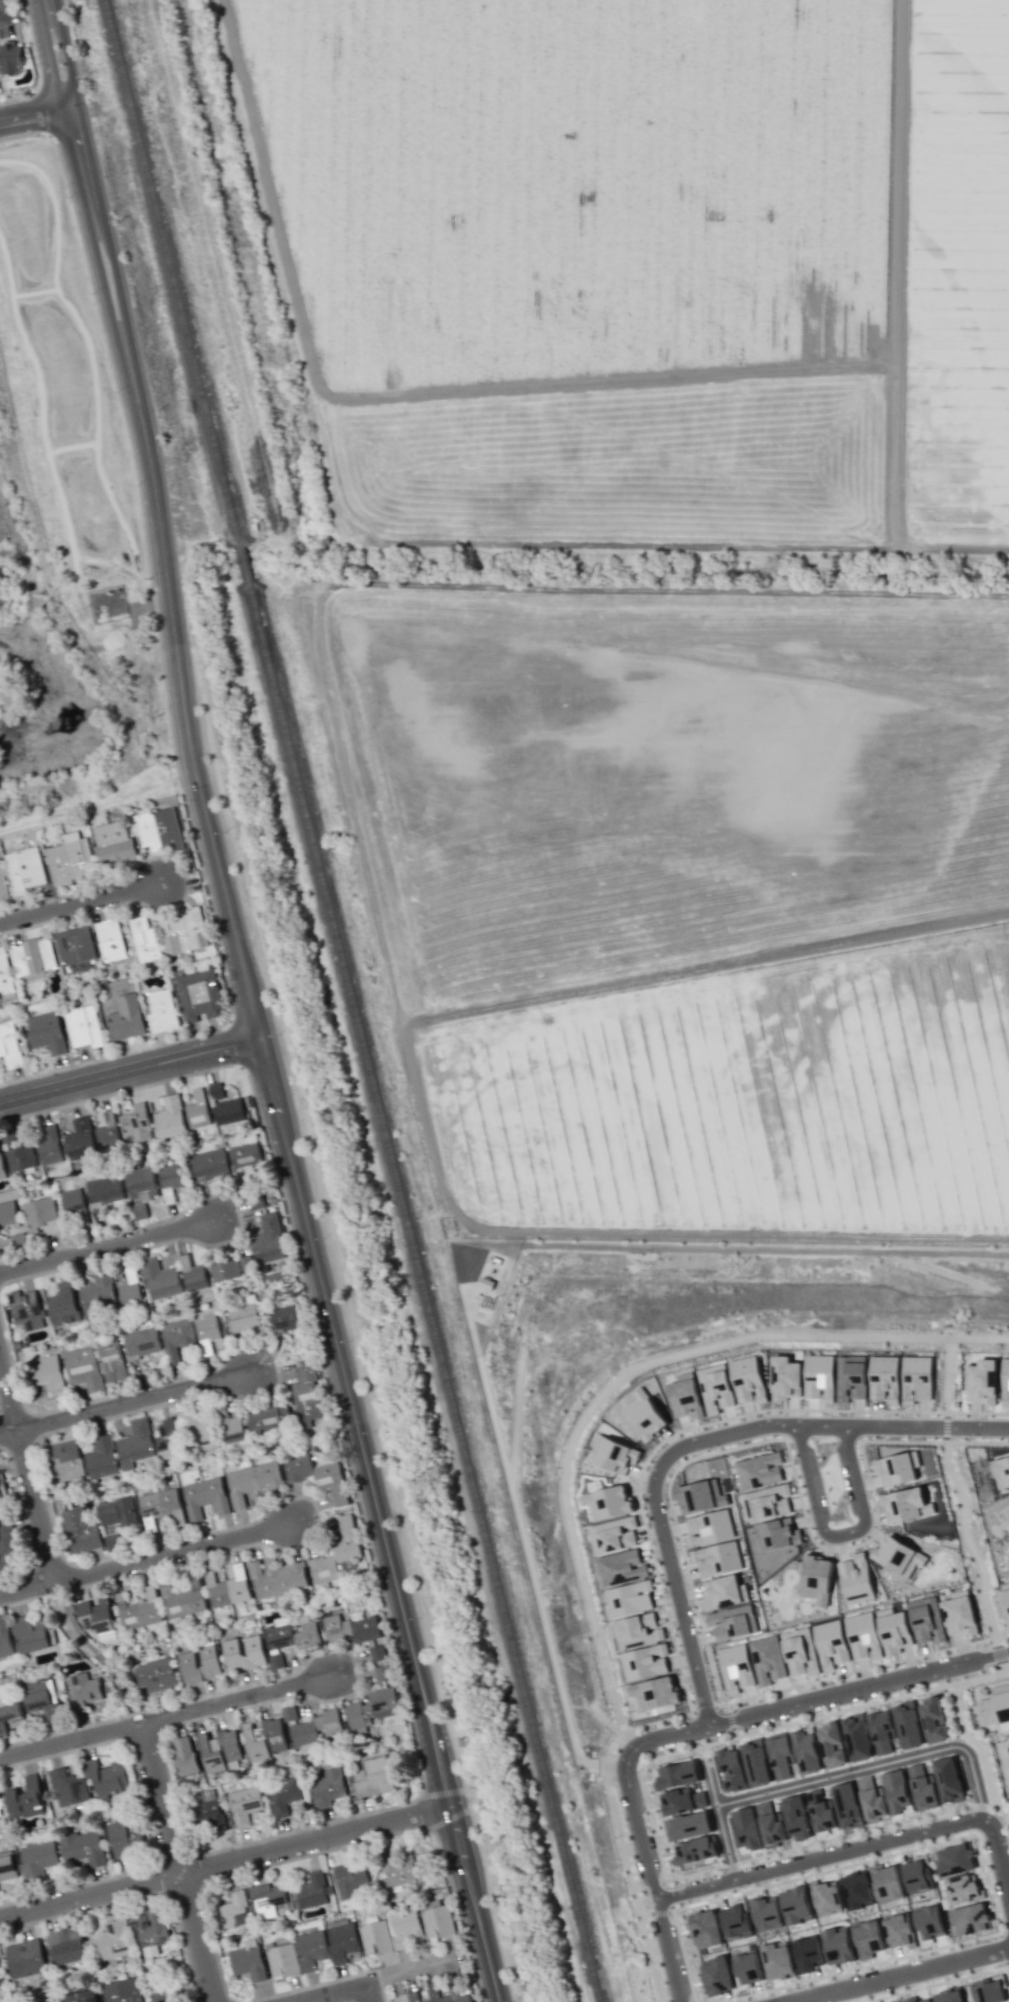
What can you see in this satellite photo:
street lamp: (22, 8)
parking lot: (15, 11)
road: (1, 13)
road: (58, 54)
building: (10, 57)
road: (35, 115)
street lamp: (35, 135)
street lamp: (69, 197)
railway: (172, 273)
street lamp: (93, 293)
street lamp: (118, 391)
street lamp: (137, 484)
railway: (244, 564)
road: (168, 573)
street lamp: (150, 578)
street lamp: (167, 707)
building: (161, 829)
street lamp: (224, 832)
building: (116, 844)
building: (72, 861)
building: (28, 869)
building: (4, 882)
road: (80, 904)
building: (185, 931)
building: (111, 939)
building: (146, 939)
building: (76, 945)
building: (35, 957)
building: (6, 975)
building: (199, 995)
building: (163, 1011)
building: (127, 1018)
building: (85, 1027)
building: (47, 1032)
street lamp: (278, 1034)
building: (11, 1045)
road: (129, 1071)
street lamp: (201, 1075)
building: (225, 1106)
crop: (747, 1106)
building: (198, 1110)
building: (171, 1117)
building: (137, 1123)
building: (109, 1133)
building: (80, 1139)
street lamp: (266, 1145)
building: (50, 1147)
building: (245, 1153)
building: (21, 1159)
building: (210, 1163)
building: (2, 1168)
building: (171, 1180)
building: (141, 1181)
building: (106, 1190)
building: (75, 1205)
building: (8, 1213)
building: (41, 1214)
street lamp: (324, 1237)
building: (269, 1238)
road: (107, 1247)
building: (225, 1268)
building: (193, 1274)
building: (161, 1279)
building: (131, 1289)
railway: (423, 1292)
building: (100, 1295)
building: (64, 1304)
building: (27, 1309)
building: (245, 1317)
building: (285, 1317)
building: (207, 1332)
building: (179, 1339)
street lamp: (350, 1340)
building: (143, 1342)
building: (111, 1358)
building: (85, 1368)
building: (47, 1373)
building: (819, 1377)
building: (884, 1377)
road: (947, 1377)
building: (850, 1378)
building: (916, 1378)
building: (748, 1379)
building: (786, 1379)
building: (981, 1381)
building: (1005, 1382)
park: (946, 1384)
building: (714, 1387)
building: (306, 1396)
building: (685, 1396)
road: (126, 1405)
building: (644, 1415)
street lamp: (834, 1415)
building: (268, 1418)
road: (945, 1426)
building: (232, 1429)
building: (198, 1431)
street lamp: (371, 1432)
building: (166, 1435)
street lamp: (972, 1439)
road: (697, 1442)
building: (135, 1443)
street lamp: (713, 1448)
building: (614, 1454)
building: (101, 1458)
building: (65, 1460)
building: (896, 1468)
road: (28, 1470)
building: (758, 1471)
building: (1001, 1472)
building: (316, 1475)
building: (251, 1481)
building: (2, 1488)
road: (564, 1494)
building: (205, 1496)
building: (700, 1496)
building: (606, 1502)
building: (767, 1502)
building: (159, 1503)
building: (905, 1505)
street lamp: (807, 1510)
building: (1005, 1511)
building: (117, 1512)
road: (384, 1519)
building: (709, 1528)
building: (79, 1531)
road: (838, 1532)
street lamp: (364, 1535)
building: (613, 1535)
building: (776, 1535)
building: (112, 1540)
park: (971, 1540)
street lamp: (653, 1542)
road: (968, 1542)
building: (8, 1546)
building: (336, 1553)
road: (148, 1556)
building: (898, 1556)
building: (717, 1559)
building: (620, 1567)
building: (276, 1577)
building: (815, 1578)
building: (856, 1579)
building: (227, 1587)
building: (723, 1593)
building: (1006, 1596)
building: (628, 1598)
building: (184, 1599)
building: (138, 1610)
building: (959, 1614)
building: (97, 1618)
street lamp: (418, 1619)
building: (926, 1619)
building: (732, 1622)
building: (352, 1628)
building: (636, 1630)
building: (893, 1630)
building: (306, 1632)
building: (33, 1634)
building: (862, 1636)
building: (5, 1638)
building: (830, 1644)
street lamp: (986, 1644)
street lamp: (700, 1648)
building: (800, 1651)
building: (379, 1652)
road: (95, 1653)
building: (243, 1653)
road: (999, 1654)
building: (767, 1659)
building: (209, 1660)
building: (276, 1661)
building: (644, 1662)
building: (189, 1667)
building: (735, 1667)
building: (383, 1673)
building: (156, 1677)
building: (82, 1691)
building: (654, 1693)
street lamp: (889, 1694)
building: (42, 1698)
road: (814, 1699)
street lamp: (761, 1700)
building: (371, 1706)
building: (994, 1708)
building: (290, 1713)
road: (828, 1715)
building: (9, 1716)
road: (167, 1718)
street lamp: (408, 1719)
building: (933, 1719)
road: (730, 1720)
building: (907, 1724)
building: (315, 1728)
building: (881, 1730)
road: (964, 1732)
building: (274, 1735)
park: (984, 1735)
building: (857, 1737)
road: (629, 1740)
street lamp: (693, 1743)
building: (255, 1744)
building: (831, 1745)
building: (806, 1750)
building: (185, 1755)
building: (780, 1755)
building: (755, 1762)
road: (874, 1766)
road: (616, 1767)
building: (731, 1770)
street lamp: (637, 1772)
building: (675, 1775)
building: (107, 1777)
building: (372, 1777)
building: (948, 1780)
building: (328, 1787)
building: (922, 1787)
building: (69, 1788)
building: (895, 1791)
road: (441, 1792)
building: (284, 1795)
building: (26, 1799)
building: (871, 1799)
street lamp: (468, 1801)
building: (681, 1801)
building: (245, 1804)
building: (847, 1805)
building: (820, 1810)
building: (0, 1811)
building: (210, 1812)
road: (451, 1817)
building: (796, 1818)
road: (719, 1821)
building: (770, 1823)
building: (687, 1826)
building: (746, 1830)
street lamp: (950, 1836)
building: (124, 1839)
street lamp: (829, 1844)
building: (84, 1848)
building: (694, 1851)
road: (997, 1857)
building: (38, 1859)
road: (818, 1859)
building: (955, 1859)
road: (224, 1861)
road: (179, 1863)
building: (7, 1867)
building: (397, 1870)
building: (917, 1875)
building: (351, 1879)
road: (652, 1879)
building: (886, 1883)
street lamp: (743, 1887)
building: (962, 1889)
building: (856, 1890)
building: (311, 1891)
road: (494, 1892)
building: (826, 1898)
building: (267, 1899)
building: (795, 1905)
street lamp: (456, 1910)
building: (234, 1911)
road: (659, 1912)
building: (765, 1913)
road: (645, 1914)
building: (970, 1919)
building: (437, 1920)
building: (736, 1921)
building: (928, 1924)
building: (405, 1926)
building: (704, 1928)
building: (150, 1931)
building: (899, 1931)
building: (376, 1937)
building: (867, 1939)
street lamp: (989, 1939)
building: (112, 1941)
building: (343, 1941)
building: (66, 1945)
building: (838, 1946)
building: (311, 1949)
building: (807, 1954)
building: (26, 1959)
building: (283, 1961)
building: (777, 1962)
building: (248, 1963)
building: (749, 1968)
road: (403, 1970)
road: (900, 1974)
building: (716, 1976)
building: (1, 1979)
building: (988, 1990)
building: (122, 1991)
road: (331, 1994)
building: (450, 1995)
building: (948, 1995)
building: (81, 1996)
road: (365, 1997)
building: (409, 1997)
building: (909, 1999)
street lamp: (513, 2000)
building: (428, 2001)
building: (927, 2001)

